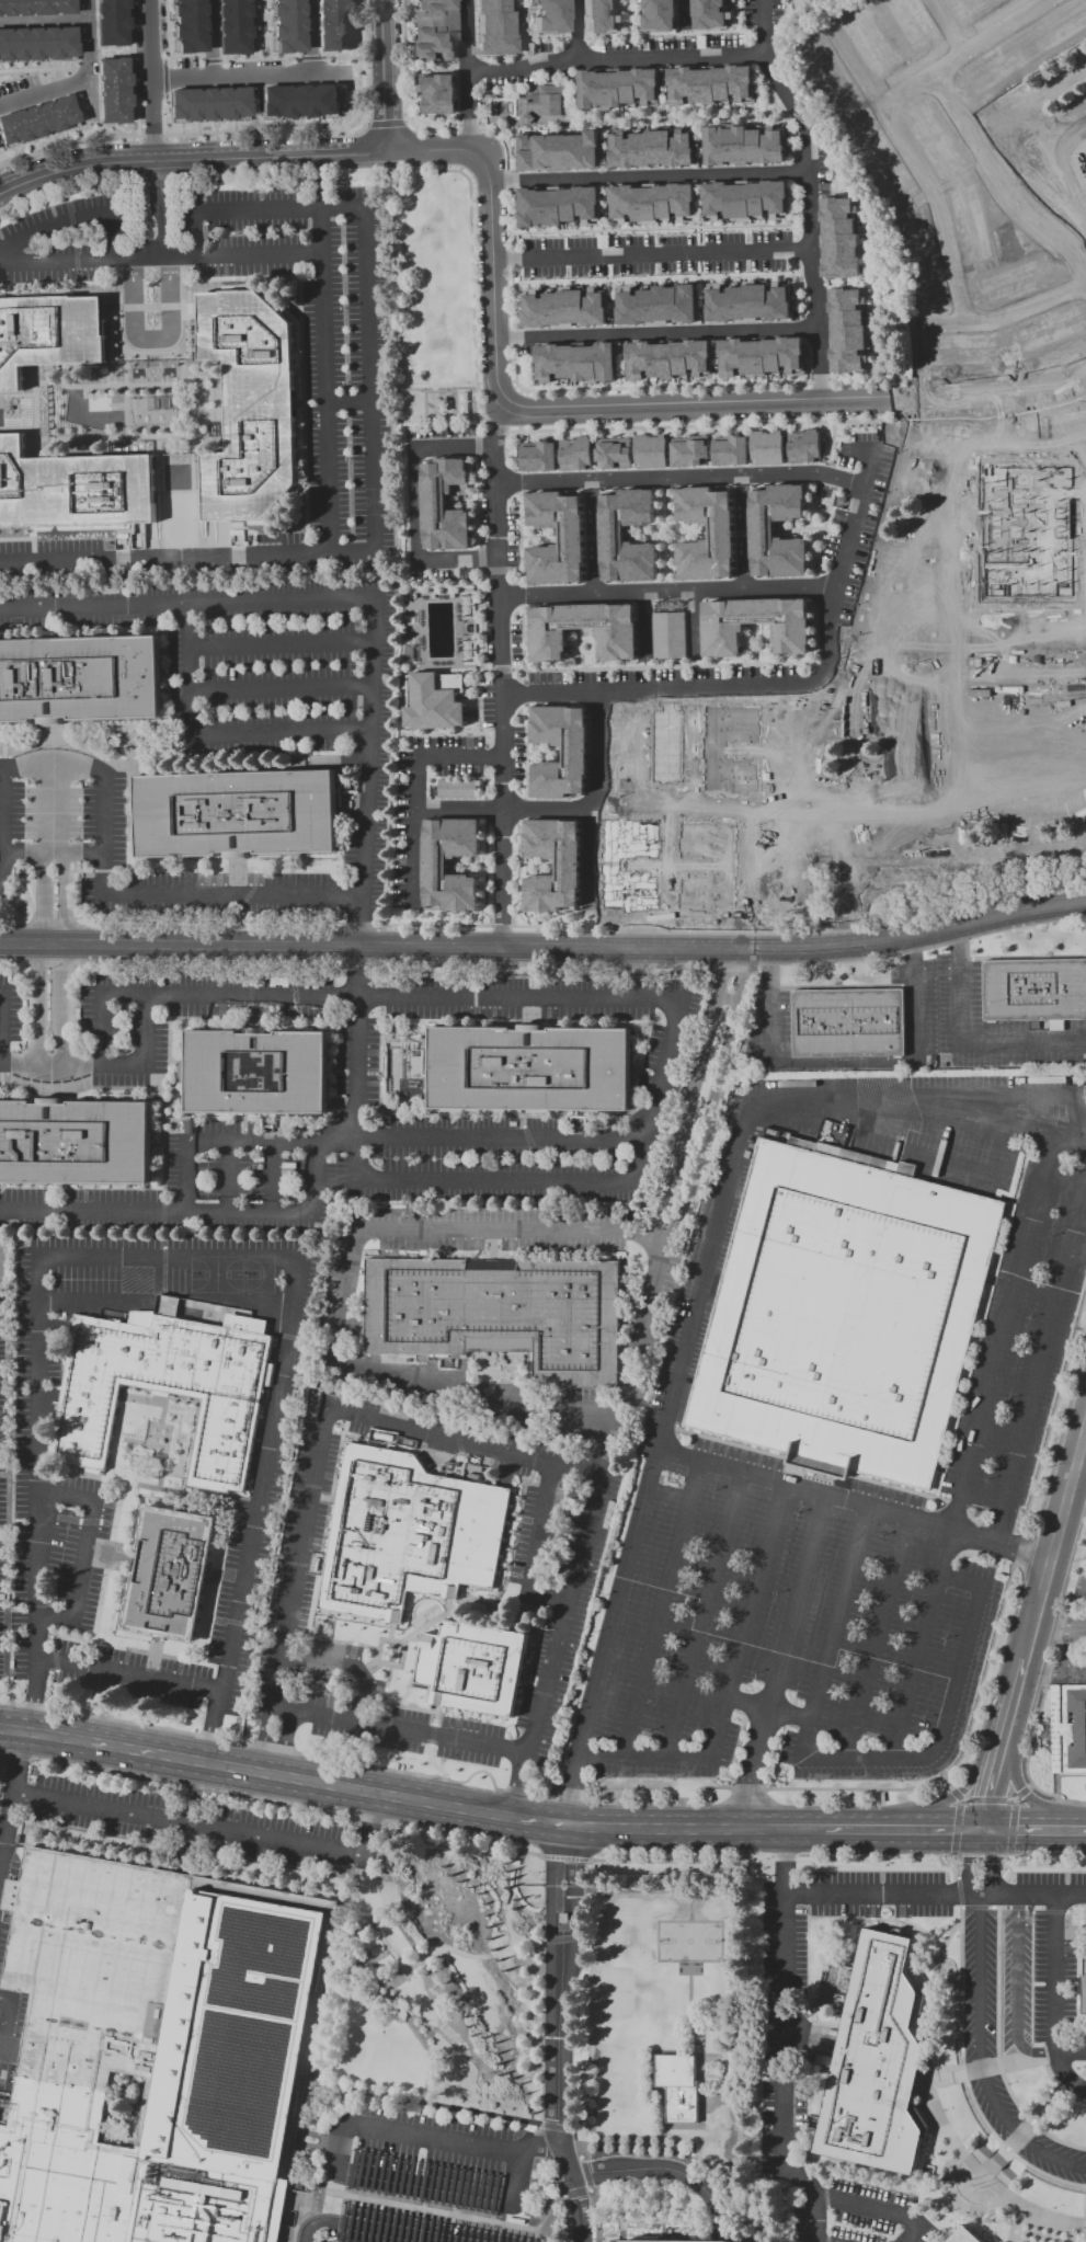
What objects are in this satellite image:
building: (1003, 1)
road: (1049, 4)
building: (35, 7)
park: (807, 10)
building: (963, 10)
road: (684, 13)
building: (660, 14)
building: (709, 14)
building: (601, 15)
road: (782, 16)
building: (549, 18)
road: (42, 20)
building: (110, 22)
building: (913, 23)
building: (284, 24)
building: (332, 24)
building: (185, 26)
building: (231, 27)
building: (493, 27)
road: (165, 28)
building: (435, 28)
road: (629, 28)
road: (574, 30)
road: (947, 31)
building: (1062, 32)
road: (518, 33)
road: (627, 33)
road: (308, 36)
road: (208, 37)
building: (36, 42)
building: (869, 42)
road: (645, 45)
road: (84, 56)
road: (974, 56)
road: (614, 58)
road: (30, 69)
road: (426, 71)
road: (241, 73)
road: (467, 73)
building: (996, 73)
road: (387, 75)
building: (830, 75)
road: (148, 79)
building: (711, 85)
road: (664, 87)
building: (618, 88)
road: (42, 89)
building: (111, 89)
building: (438, 94)
building: (298, 101)
building: (545, 103)
building: (206, 104)
road: (676, 116)
building: (36, 119)
road: (399, 121)
road: (820, 127)
road: (325, 129)
road: (132, 134)
road: (149, 134)
building: (933, 145)
building: (743, 146)
building: (652, 149)
building: (559, 151)
road: (191, 157)
road: (914, 165)
building: (883, 169)
road: (604, 173)
road: (648, 176)
road: (790, 187)
road: (1001, 187)
road: (808, 193)
building: (745, 199)
building: (651, 204)
building: (558, 206)
road: (279, 209)
road: (699, 224)
road: (991, 226)
road: (650, 227)
road: (52, 229)
road: (490, 229)
building: (970, 230)
road: (196, 235)
parking lot: (64, 238)
building: (839, 238)
road: (111, 240)
road: (608, 241)
building: (1008, 248)
road: (880, 252)
road: (651, 253)
building: (921, 255)
road: (162, 260)
road: (607, 266)
road: (1003, 268)
road: (866, 274)
road: (662, 277)
road: (906, 281)
road: (835, 284)
building: (1014, 289)
park: (430, 296)
road: (414, 297)
building: (748, 302)
building: (656, 305)
road: (610, 306)
road: (151, 308)
building: (563, 308)
road: (1003, 314)
building: (1045, 325)
road: (115, 331)
road: (903, 331)
road: (153, 332)
road: (656, 332)
building: (848, 332)
building: (48, 334)
building: (957, 347)
road: (183, 348)
road: (327, 354)
building: (761, 356)
building: (667, 359)
fountain: (155, 363)
building: (575, 363)
road: (715, 365)
road: (620, 368)
parking lot: (309, 374)
road: (370, 380)
road: (487, 385)
road: (795, 398)
road: (350, 403)
building: (251, 404)
road: (224, 407)
road: (176, 409)
road: (33, 411)
road: (127, 413)
road: (16, 431)
road: (833, 436)
building: (802, 446)
building: (766, 447)
road: (835, 447)
building: (650, 450)
building: (688, 450)
building: (730, 450)
building: (574, 453)
building: (611, 453)
building: (537, 456)
road: (167, 460)
road: (193, 467)
road: (678, 477)
building: (73, 488)
road: (821, 497)
park: (374, 501)
road: (459, 501)
road: (462, 501)
building: (445, 503)
road: (413, 504)
road: (160, 511)
park: (180, 522)
building: (761, 526)
road: (791, 527)
building: (720, 528)
building: (610, 530)
road: (666, 531)
building: (571, 533)
road: (666, 533)
road: (540, 536)
road: (672, 537)
road: (741, 539)
building: (1001, 542)
road: (592, 544)
road: (354, 554)
road: (165, 559)
parking lot: (50, 560)
road: (816, 568)
road: (501, 569)
road: (521, 587)
road: (667, 590)
road: (338, 599)
road: (693, 624)
road: (643, 626)
road: (460, 627)
building: (721, 627)
road: (423, 628)
road: (761, 628)
building: (615, 632)
road: (576, 633)
building: (667, 634)
road: (766, 640)
road: (279, 643)
road: (571, 647)
road: (744, 647)
road: (761, 647)
road: (594, 651)
road: (588, 652)
road: (756, 654)
building: (985, 654)
road: (583, 660)
road: (694, 662)
road: (644, 663)
road: (654, 665)
road: (411, 666)
road: (484, 672)
road: (502, 672)
building: (79, 677)
road: (792, 685)
road: (279, 688)
building: (434, 700)
road: (410, 733)
road: (214, 734)
building: (660, 746)
road: (538, 747)
road: (758, 750)
road: (597, 752)
road: (546, 753)
building: (706, 754)
building: (574, 755)
road: (545, 757)
building: (964, 757)
road: (689, 758)
road: (638, 760)
road: (2, 770)
road: (415, 787)
building: (456, 788)
road: (788, 794)
road: (52, 807)
road: (688, 807)
road: (502, 809)
building: (236, 814)
road: (518, 821)
road: (104, 851)
road: (471, 859)
road: (531, 859)
road: (588, 859)
road: (746, 860)
road: (466, 862)
road: (537, 863)
road: (666, 867)
building: (435, 868)
road: (465, 868)
road: (666, 868)
road: (537, 869)
building: (568, 869)
building: (715, 869)
building: (605, 891)
road: (961, 928)
road: (419, 947)
road: (363, 949)
road: (41, 958)
road: (60, 958)
road: (641, 974)
building: (1033, 988)
road: (416, 998)
road: (103, 1008)
building: (848, 1021)
road: (0, 1028)
road: (965, 1044)
road: (0, 1061)
road: (846, 1063)
road: (21, 1064)
road: (128, 1066)
road: (359, 1067)
building: (530, 1068)
road: (665, 1069)
building: (255, 1072)
road: (694, 1094)
road: (716, 1098)
road: (958, 1117)
road: (381, 1137)
road: (1072, 1139)
building: (75, 1142)
road: (970, 1170)
road: (229, 1178)
road: (276, 1178)
road: (318, 1179)
road: (499, 1182)
road: (92, 1212)
road: (251, 1213)
road: (544, 1237)
road: (215, 1252)
road: (715, 1254)
park: (232, 1274)
road: (112, 1303)
building: (500, 1313)
building: (846, 1315)
road: (1006, 1332)
parking lot: (1017, 1356)
road: (1039, 1366)
building: (171, 1382)
road: (477, 1398)
road: (466, 1442)
road: (1079, 1471)
road: (813, 1482)
road: (826, 1496)
building: (407, 1535)
road: (1021, 1547)
road: (83, 1549)
road: (530, 1551)
road: (298, 1558)
road: (1045, 1568)
building: (169, 1572)
road: (1081, 1592)
road: (797, 1602)
road: (663, 1611)
road: (568, 1615)
road: (706, 1616)
road: (748, 1622)
road: (1078, 1632)
road: (37, 1635)
road: (836, 1635)
road: (880, 1639)
road: (925, 1645)
road: (347, 1668)
building: (473, 1668)
road: (127, 1674)
road: (1052, 1674)
road: (32, 1696)
road: (770, 1709)
road: (950, 1717)
road: (353, 1723)
building: (1068, 1728)
road: (209, 1729)
road: (265, 1741)
road: (285, 1745)
road: (481, 1746)
road: (129, 1752)
road: (644, 1758)
road: (752, 1769)
road: (992, 1773)
road: (521, 1785)
road: (964, 1786)
road: (1020, 1788)
road: (569, 1792)
road: (387, 1795)
road: (13, 1806)
road: (191, 1825)
road: (371, 1826)
road: (808, 1829)
road: (862, 1829)
road: (939, 1830)
road: (650, 1831)
traffic signals: (984, 1831)
road: (1034, 1831)
road: (530, 1853)
road: (936, 1894)
road: (512, 1896)
road: (660, 1898)
road: (693, 1910)
park: (693, 1943)
road: (487, 1955)
parking lot: (1054, 1972)
parking lot: (1015, 1978)
building: (1084, 1982)
parking lot: (981, 1987)
road: (1016, 1989)
road: (1054, 2000)
fountain: (947, 2011)
road: (984, 2025)
road: (691, 2026)
road: (561, 2035)
road: (784, 2043)
parking lot: (784, 2044)
building: (159, 2050)
road: (1071, 2050)
building: (873, 2058)
road: (986, 2069)
building: (683, 2089)
fountain: (979, 2124)
road: (1026, 2131)
road: (685, 2152)
road: (342, 2155)
road: (670, 2170)
road: (981, 2176)
fountain: (1039, 2176)
parking lot: (422, 2178)
fountain: (976, 2183)
road: (957, 2204)
road: (550, 2209)
road: (430, 2210)
road: (933, 2210)
road: (873, 2212)
road: (1018, 2224)
road: (367, 2227)
road: (1073, 2233)
building: (964, 2235)
building: (684, 2241)
road: (818, 2241)

